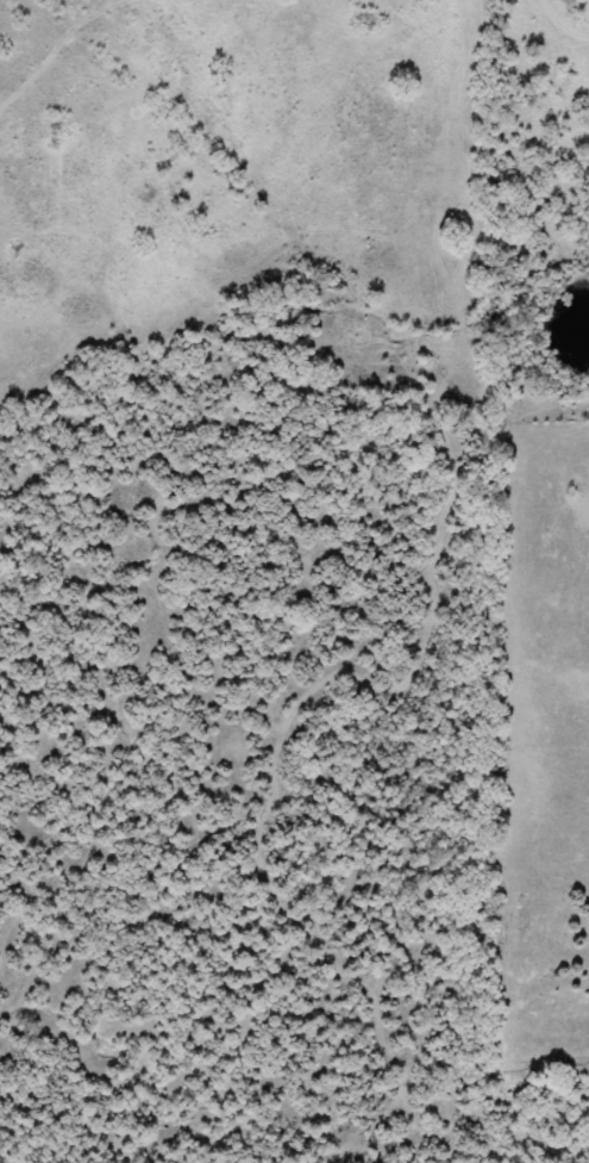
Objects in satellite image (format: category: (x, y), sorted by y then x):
road: (48, 49)

